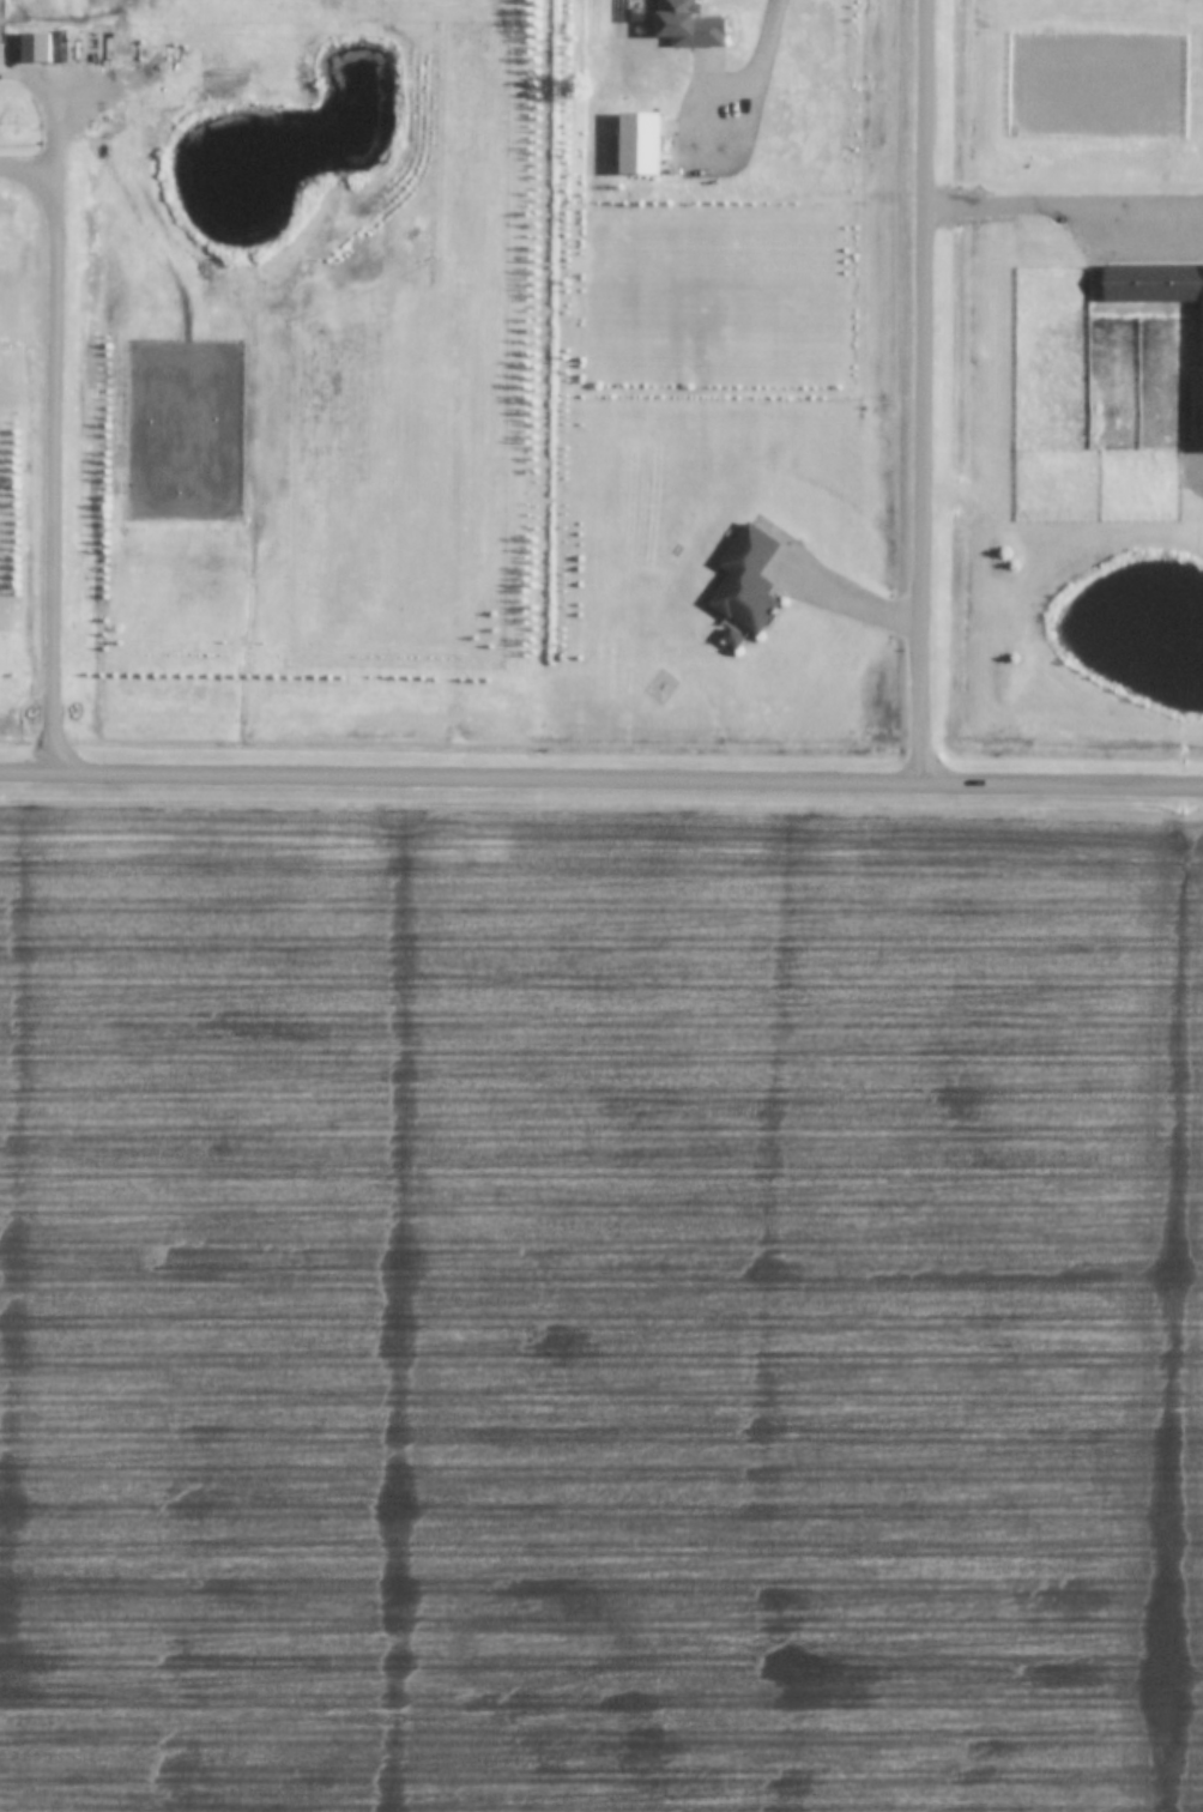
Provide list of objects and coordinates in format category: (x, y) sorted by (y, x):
building: (690, 25)
building: (36, 47)
road: (758, 80)
building: (641, 144)
road: (1066, 204)
building: (1154, 284)
road: (926, 388)
road: (55, 449)
building: (749, 580)
road: (852, 604)
building: (736, 639)
building: (558, 658)
road: (601, 774)

